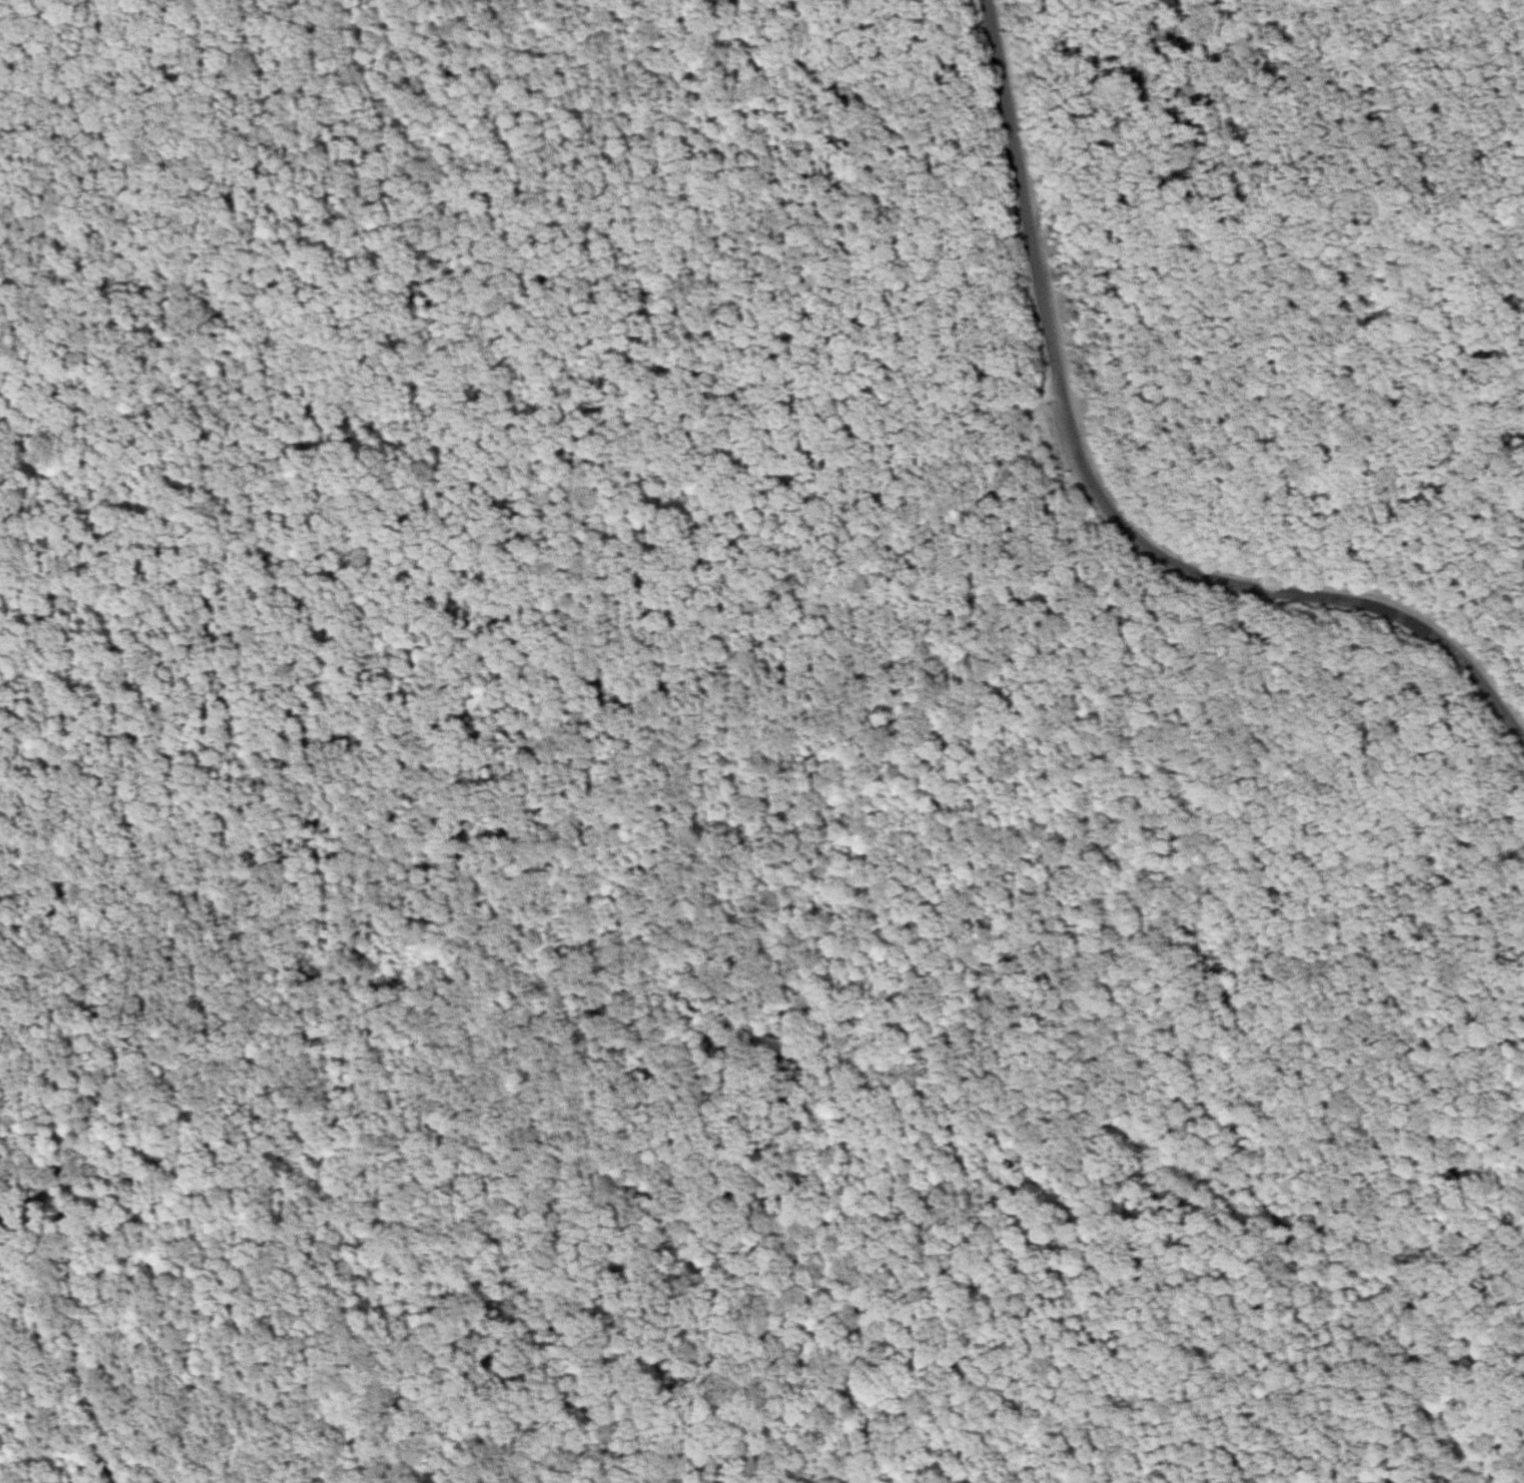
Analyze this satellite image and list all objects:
road: (1209, 188)
road: (1101, 497)
road: (342, 742)

